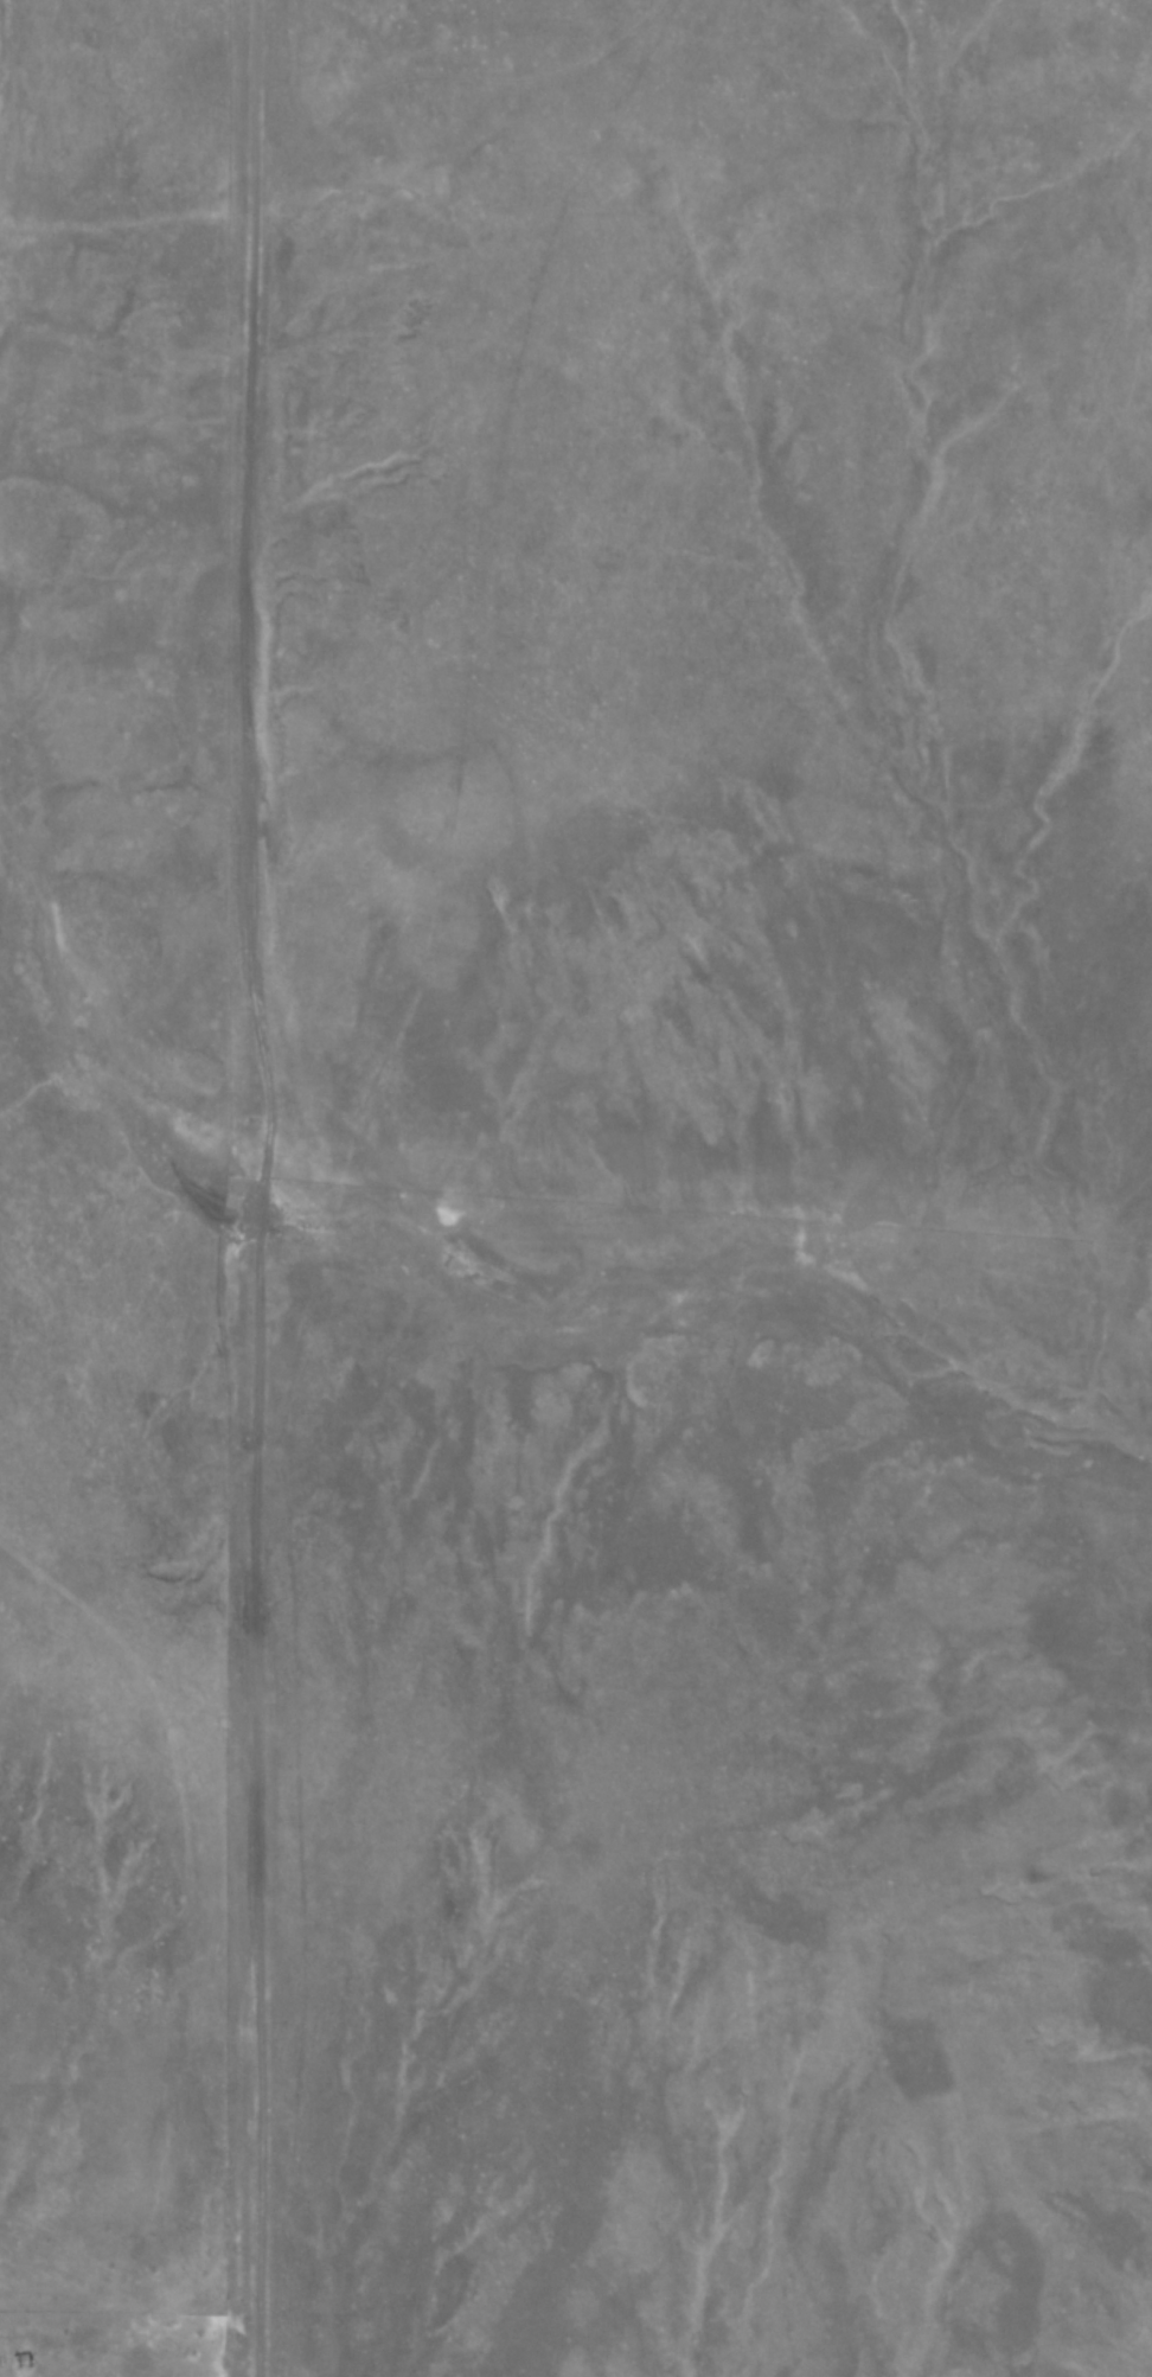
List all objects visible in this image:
road: (237, 849)
road: (127, 1619)
road: (255, 2037)
building: (14, 2359)

